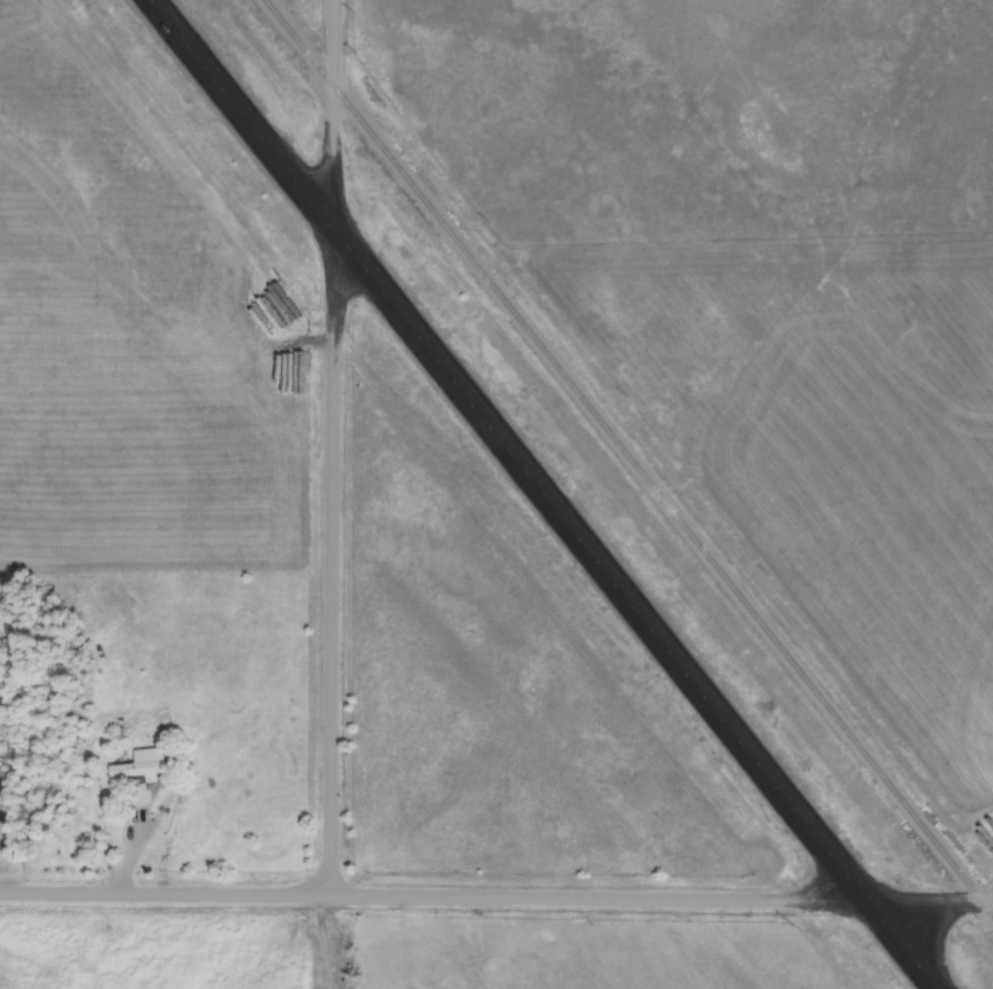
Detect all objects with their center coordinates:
road: (333, 448)
railway: (628, 459)
road: (538, 494)
building: (142, 764)
road: (489, 898)
road: (986, 902)

